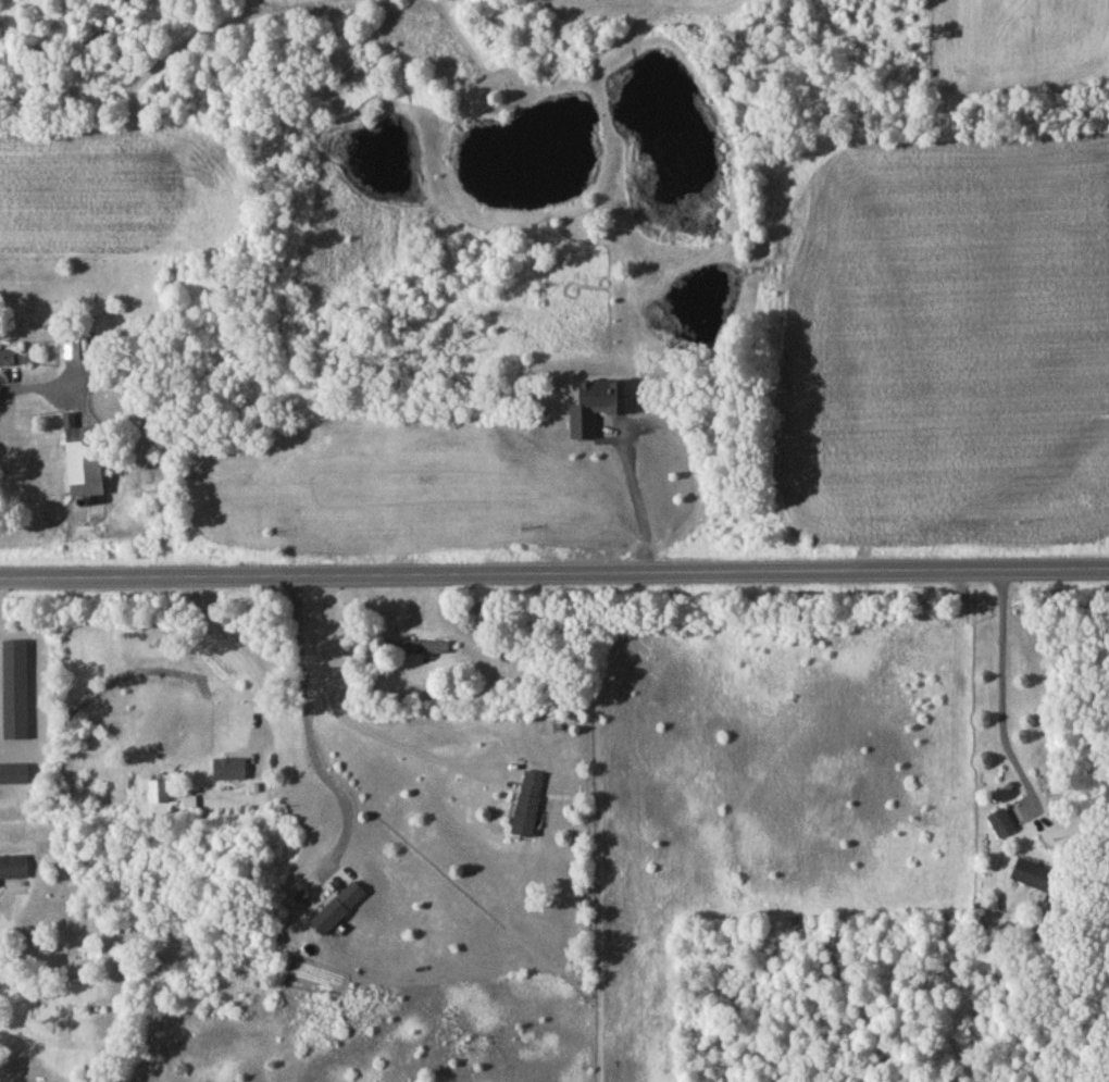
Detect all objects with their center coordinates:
building: (72, 352)
building: (8, 361)
road: (646, 412)
building: (88, 464)
road: (554, 573)
building: (419, 650)
road: (237, 654)
building: (16, 682)
road: (41, 693)
road: (1001, 694)
road: (311, 724)
road: (356, 725)
building: (230, 772)
building: (14, 779)
building: (158, 795)
building: (529, 808)
building: (1004, 826)
building: (14, 871)
building: (1041, 881)
road: (2, 903)
building: (340, 911)
building: (75, 959)

